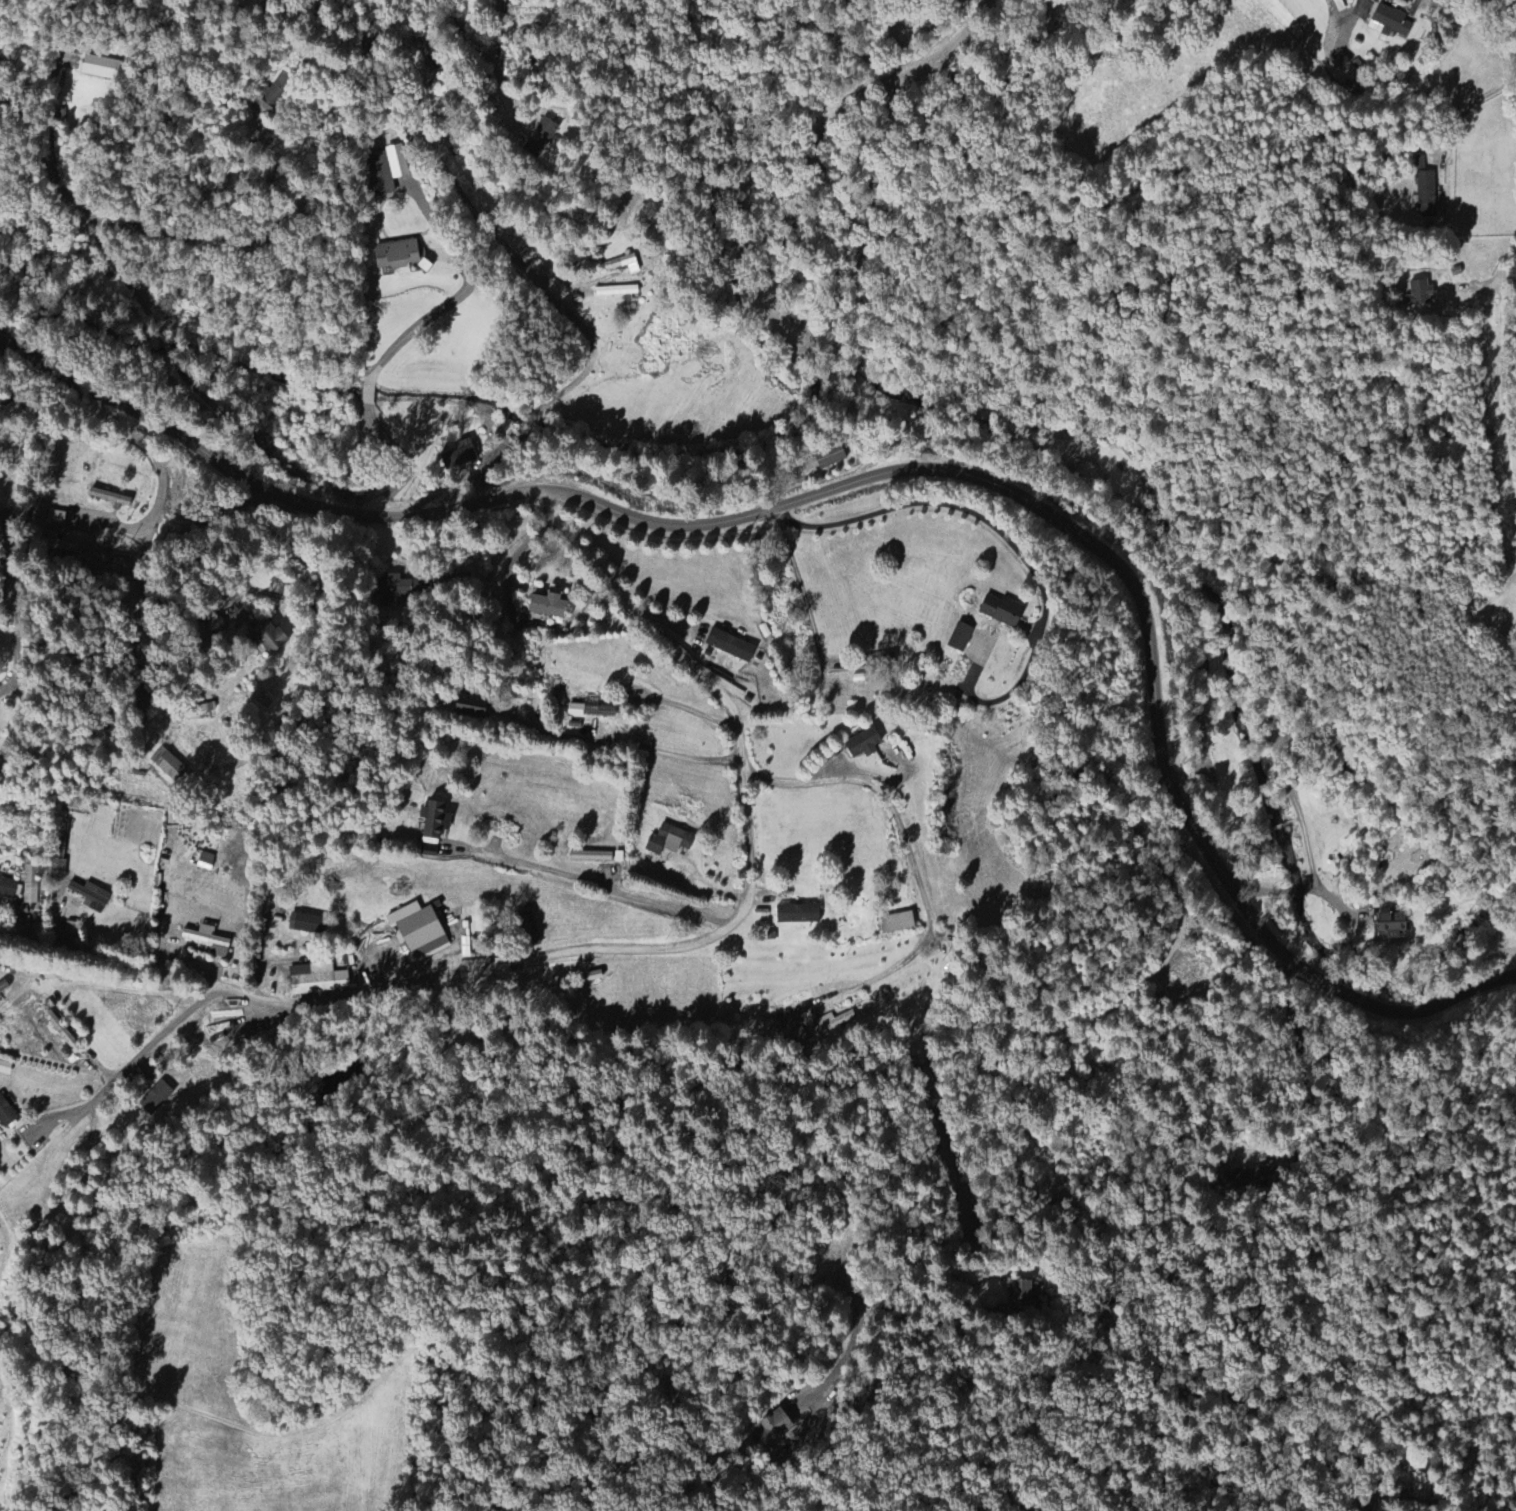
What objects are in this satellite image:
building: (1390, 22)
road: (444, 27)
road: (1493, 54)
building: (100, 68)
road: (615, 76)
building: (274, 93)
building: (541, 138)
building: (1419, 163)
building: (385, 171)
building: (1426, 195)
road: (768, 213)
road: (1035, 238)
road: (167, 248)
building: (397, 256)
building: (528, 256)
building: (623, 265)
road: (463, 291)
building: (619, 292)
building: (1419, 294)
road: (564, 313)
road: (369, 396)
building: (830, 457)
building: (460, 458)
road: (407, 466)
road: (889, 474)
road: (162, 485)
road: (945, 506)
road: (28, 514)
building: (57, 518)
road: (509, 570)
building: (393, 588)
road: (265, 592)
road: (801, 595)
building: (549, 606)
building: (1001, 611)
building: (215, 625)
road: (321, 635)
building: (960, 637)
building: (271, 639)
building: (730, 646)
building: (471, 708)
road: (680, 710)
building: (588, 711)
building: (863, 744)
road: (620, 746)
building: (169, 765)
building: (435, 820)
building: (666, 840)
building: (591, 857)
road: (908, 857)
building: (206, 861)
building: (31, 885)
road: (580, 885)
building: (8, 888)
building: (91, 896)
building: (798, 914)
building: (1394, 923)
building: (307, 924)
building: (897, 924)
building: (419, 931)
building: (209, 940)
road: (612, 950)
building: (316, 979)
building: (3, 987)
building: (833, 1022)
building: (803, 1039)
road: (925, 1055)
road: (1304, 1062)
road: (131, 1067)
building: (5, 1068)
building: (156, 1098)
building: (6, 1114)
building: (1246, 1181)
building: (1026, 1292)
building: (774, 1428)
road: (1419, 1501)

